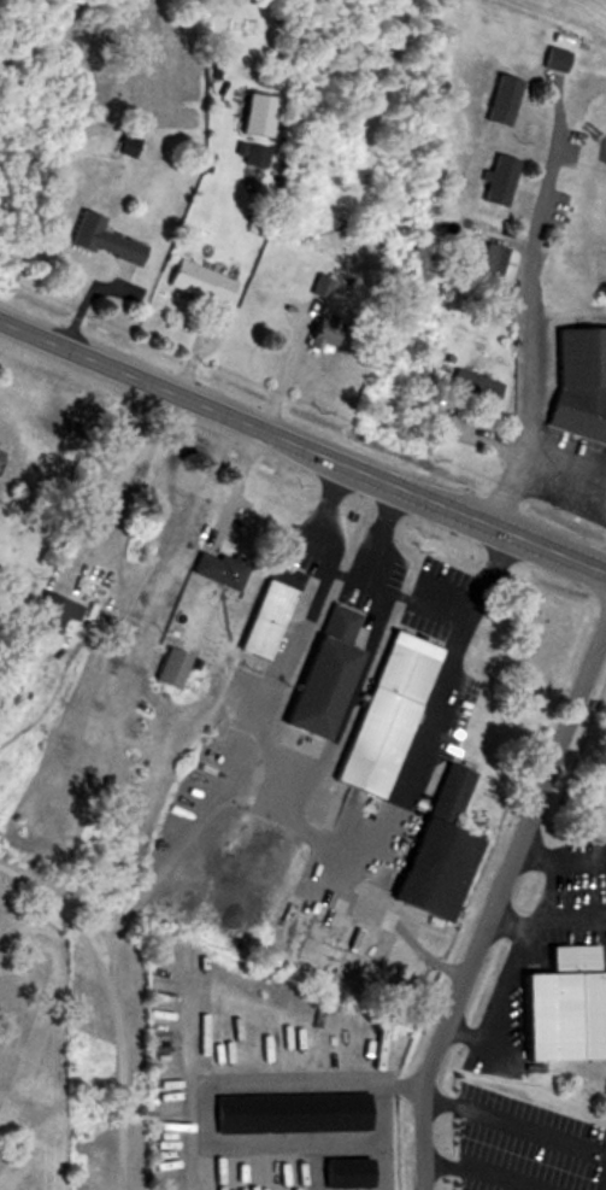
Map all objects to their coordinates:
building: (549, 58)
building: (494, 98)
building: (253, 113)
building: (251, 153)
building: (493, 178)
building: (101, 241)
building: (483, 266)
building: (196, 280)
building: (318, 285)
road: (520, 316)
building: (316, 335)
road: (282, 376)
building: (577, 381)
building: (470, 385)
road: (302, 446)
road: (565, 464)
road: (602, 551)
building: (220, 573)
parking lot: (373, 582)
parking lot: (440, 602)
road: (452, 603)
building: (267, 614)
building: (51, 615)
building: (322, 678)
building: (383, 719)
road: (416, 757)
road: (290, 762)
building: (439, 852)
road: (541, 860)
road: (583, 868)
road: (496, 907)
road: (554, 914)
road: (522, 930)
road: (114, 1003)
building: (564, 1006)
road: (499, 1008)
building: (289, 1113)
road: (514, 1127)
parking lot: (525, 1147)
building: (343, 1173)
road: (479, 1173)
road: (605, 1189)

